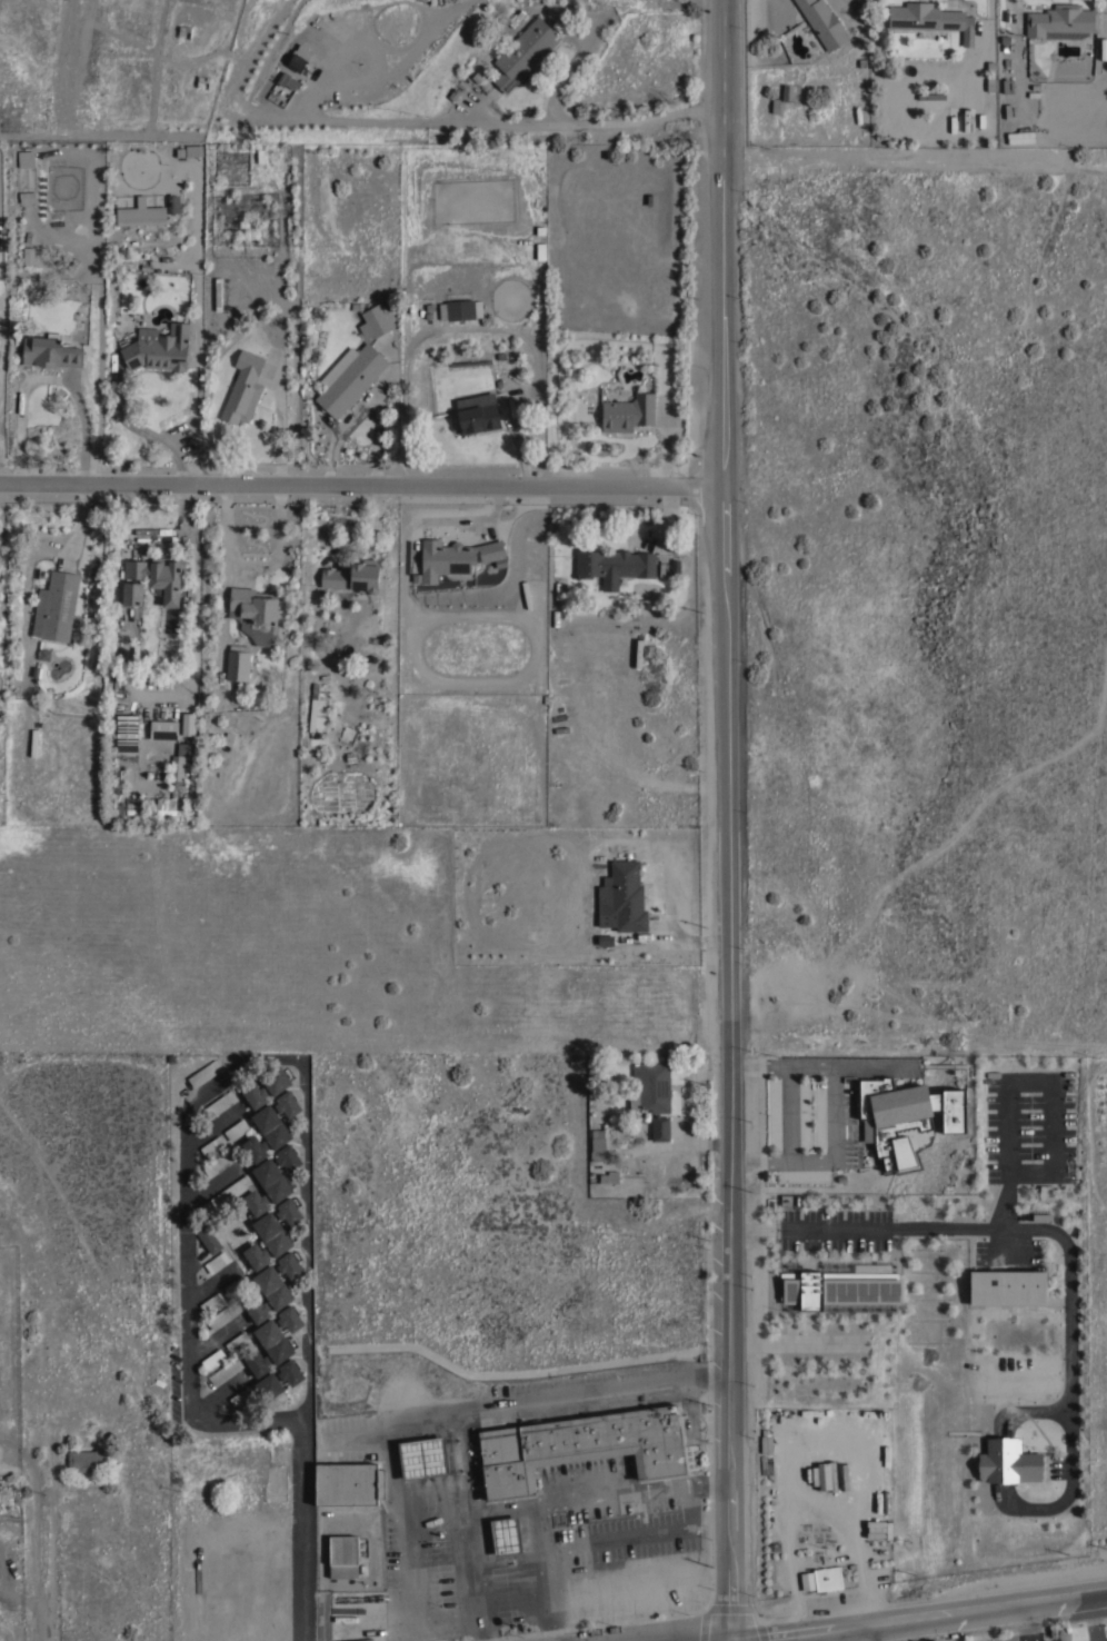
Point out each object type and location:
road: (956, 1)
road: (1011, 14)
building: (929, 21)
building: (822, 22)
building: (1061, 22)
building: (1104, 48)
building: (523, 52)
building: (299, 58)
building: (287, 80)
building: (1007, 84)
building: (930, 96)
building: (960, 119)
road: (510, 122)
building: (1021, 132)
building: (276, 153)
building: (173, 205)
building: (141, 215)
building: (217, 294)
building: (463, 309)
building: (373, 321)
building: (158, 348)
building: (51, 351)
road: (49, 377)
building: (349, 378)
building: (243, 388)
road: (368, 405)
building: (628, 412)
building: (479, 416)
road: (280, 420)
road: (144, 430)
road: (361, 485)
building: (453, 557)
building: (612, 565)
road: (253, 566)
building: (157, 573)
building: (353, 576)
building: (130, 594)
building: (56, 606)
building: (255, 606)
building: (273, 640)
building: (238, 663)
building: (312, 707)
building: (163, 730)
building: (126, 734)
building: (33, 743)
building: (178, 764)
building: (134, 806)
road: (728, 820)
building: (621, 897)
building: (205, 1073)
building: (276, 1080)
building: (253, 1094)
building: (654, 1096)
building: (287, 1103)
building: (220, 1104)
road: (790, 1112)
road: (836, 1114)
building: (906, 1121)
building: (271, 1126)
building: (236, 1130)
building: (212, 1146)
building: (598, 1146)
building: (255, 1148)
building: (288, 1157)
building: (220, 1162)
building: (609, 1176)
building: (271, 1180)
building: (226, 1195)
building: (255, 1202)
building: (289, 1211)
road: (1005, 1230)
building: (272, 1233)
building: (208, 1239)
road: (188, 1249)
building: (256, 1255)
building: (217, 1262)
building: (289, 1264)
building: (840, 1284)
building: (236, 1285)
building: (273, 1286)
building: (1007, 1287)
building: (211, 1302)
building: (256, 1310)
building: (223, 1315)
building: (289, 1317)
building: (273, 1341)
building: (237, 1342)
road: (794, 1344)
building: (213, 1359)
road: (307, 1360)
building: (257, 1363)
building: (226, 1371)
building: (290, 1371)
building: (268, 1386)
building: (241, 1396)
road: (460, 1413)
building: (766, 1443)
building: (582, 1446)
building: (422, 1458)
building: (87, 1460)
building: (1007, 1462)
road: (463, 1465)
building: (827, 1475)
building: (845, 1476)
building: (348, 1483)
road: (599, 1492)
building: (879, 1528)
building: (506, 1535)
road: (600, 1540)
building: (342, 1555)
building: (827, 1578)
road: (480, 1581)
building: (807, 1581)
road: (406, 1591)
road: (931, 1615)
road: (1029, 1621)
road: (872, 1632)
building: (0, 1640)

